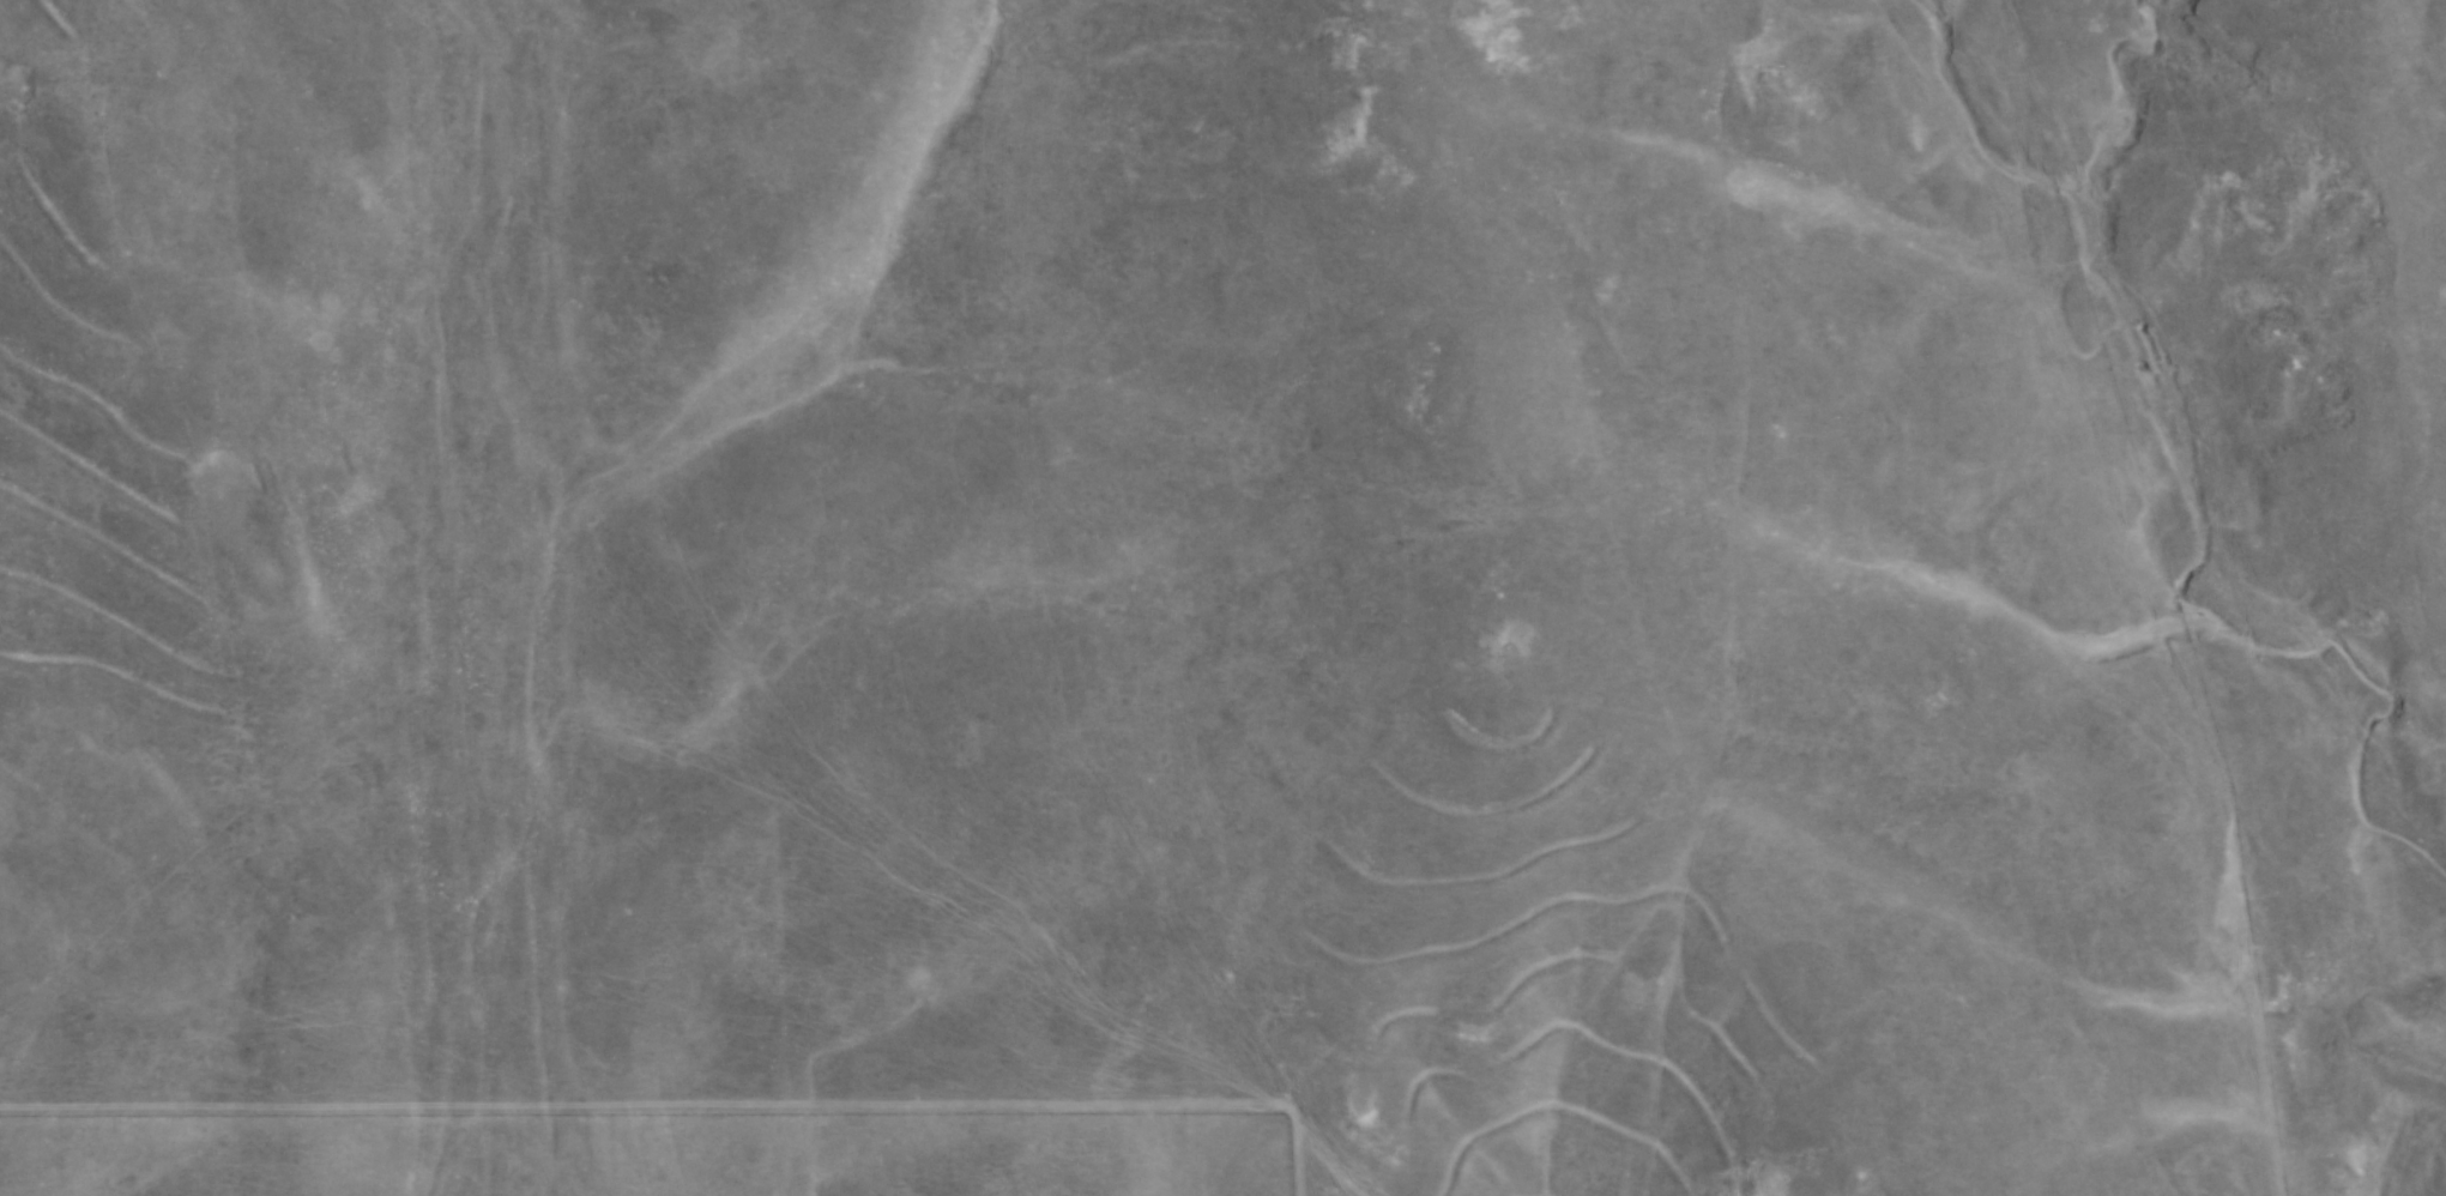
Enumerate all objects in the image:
dam: (2382, 1045)

